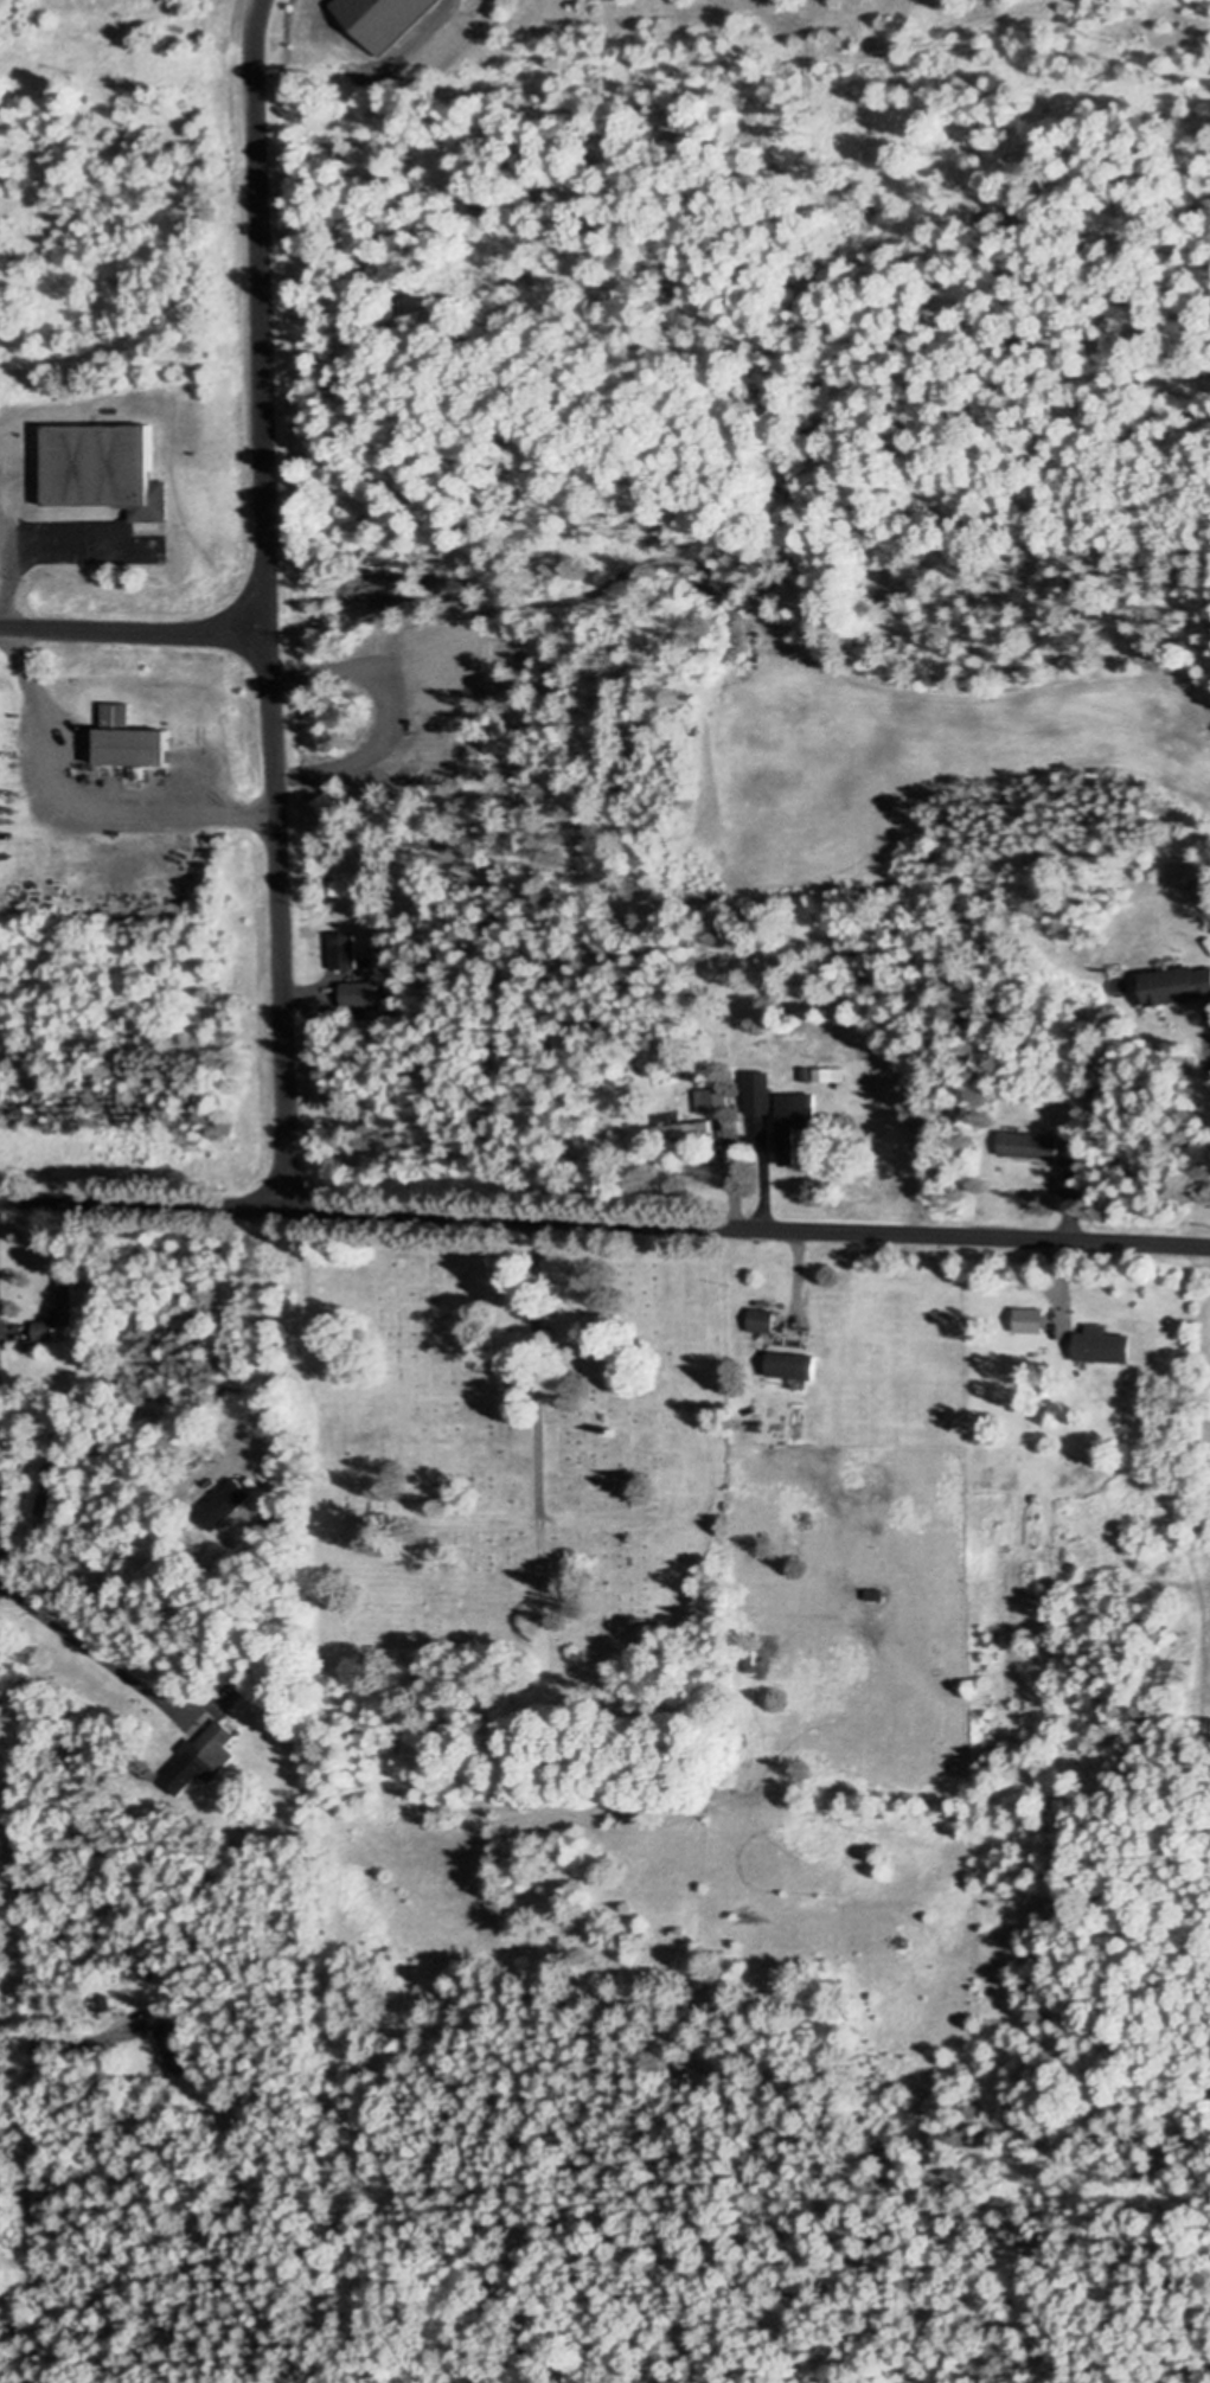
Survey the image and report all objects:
road: (267, 603)
road: (133, 628)
road: (59, 767)
road: (1206, 1061)
road: (728, 1184)
road: (762, 1185)
road: (604, 1221)
road: (1065, 1249)
road: (796, 1267)
road: (265, 1339)
park: (516, 1492)
road: (87, 1651)
road: (23, 1987)

